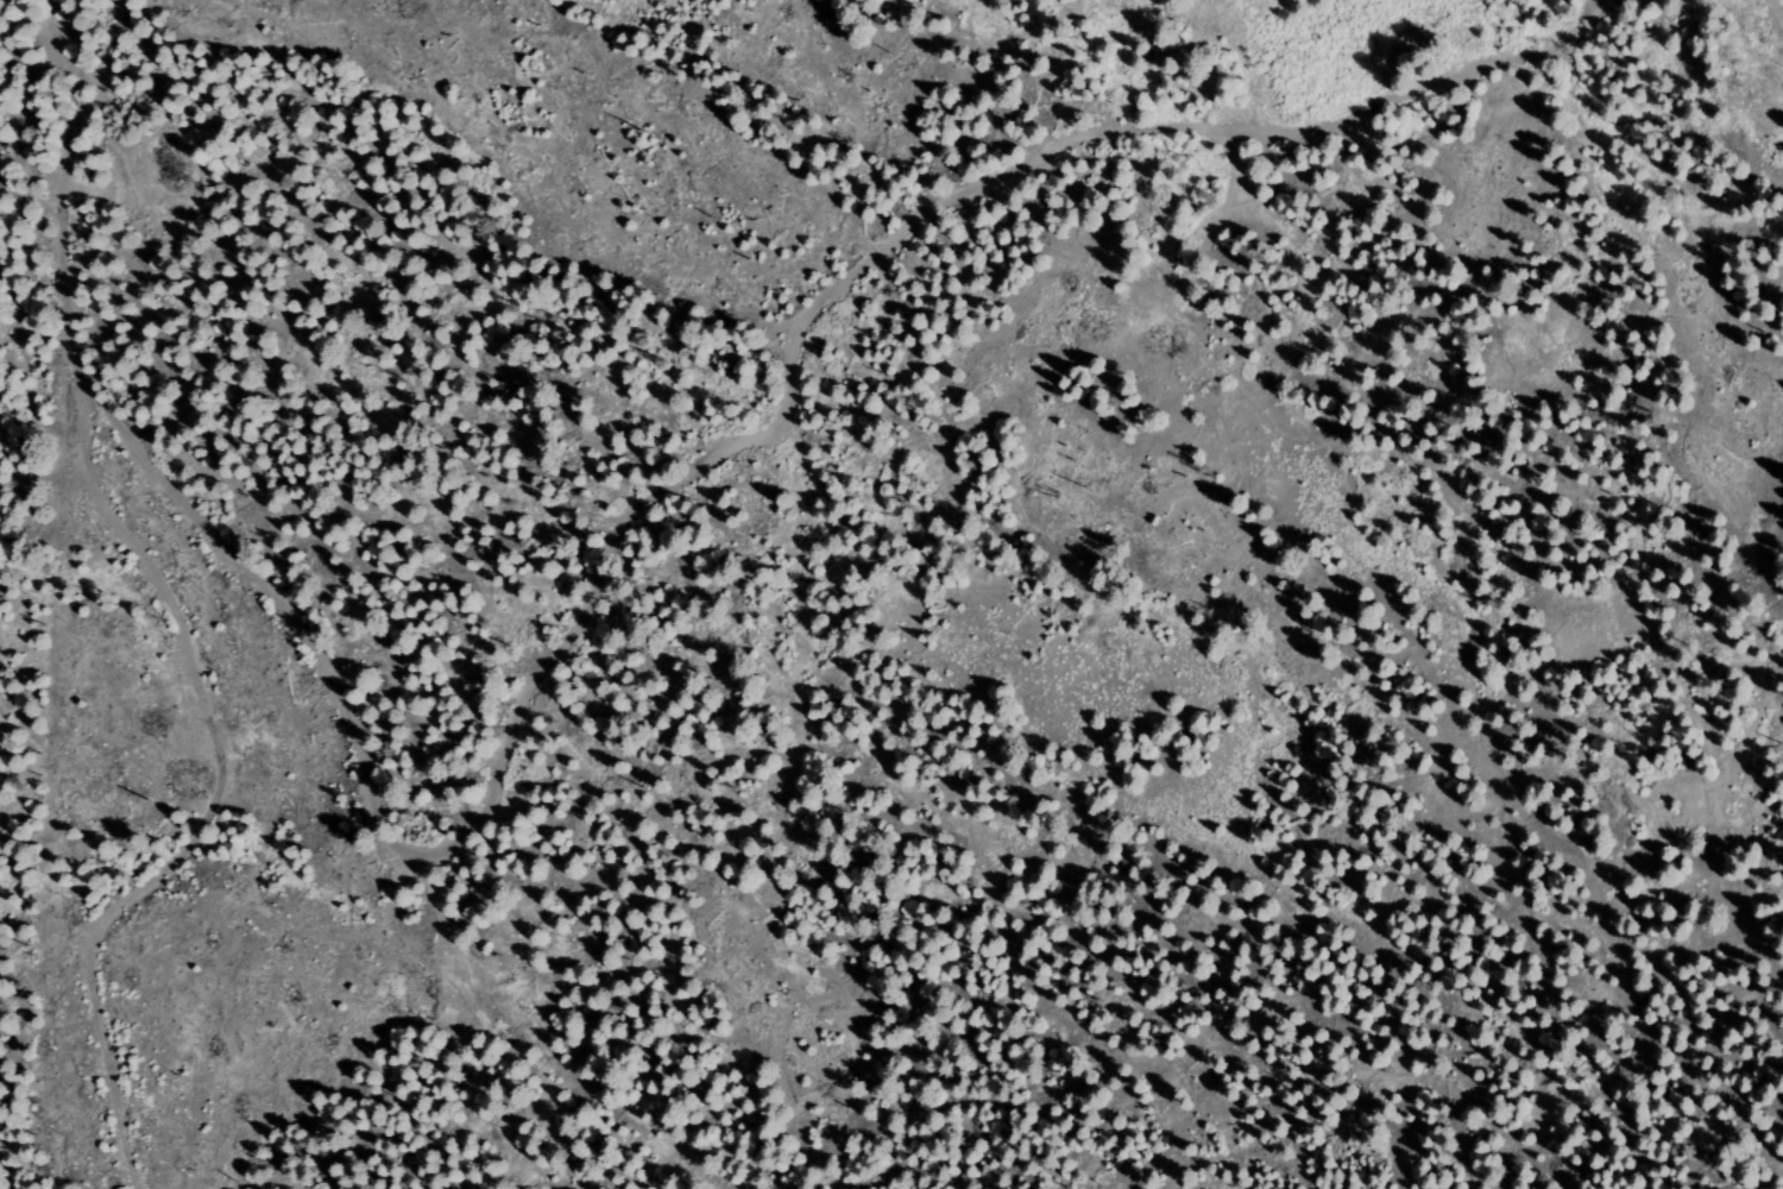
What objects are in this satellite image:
road: (1782, 0)
road: (1210, 253)
road: (687, 473)
road: (191, 610)

